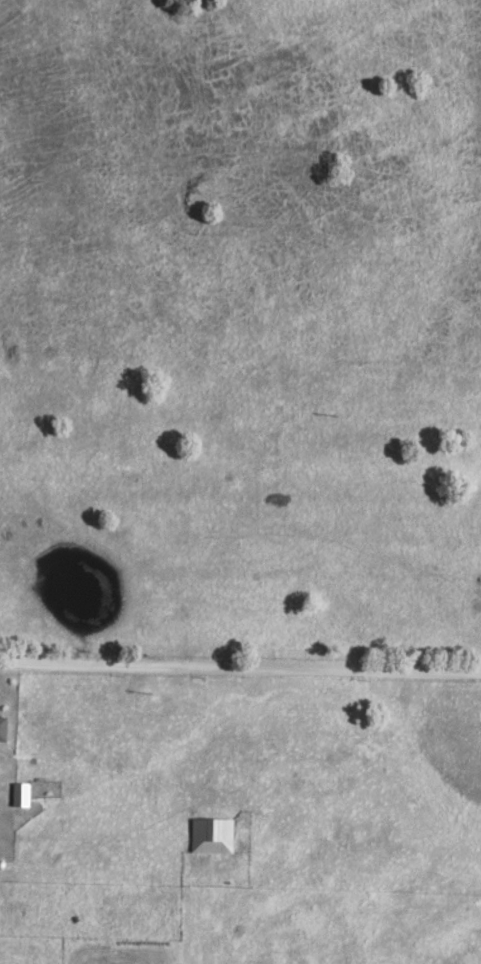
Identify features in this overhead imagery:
road: (240, 663)
building: (1, 725)
building: (20, 792)
building: (210, 833)

